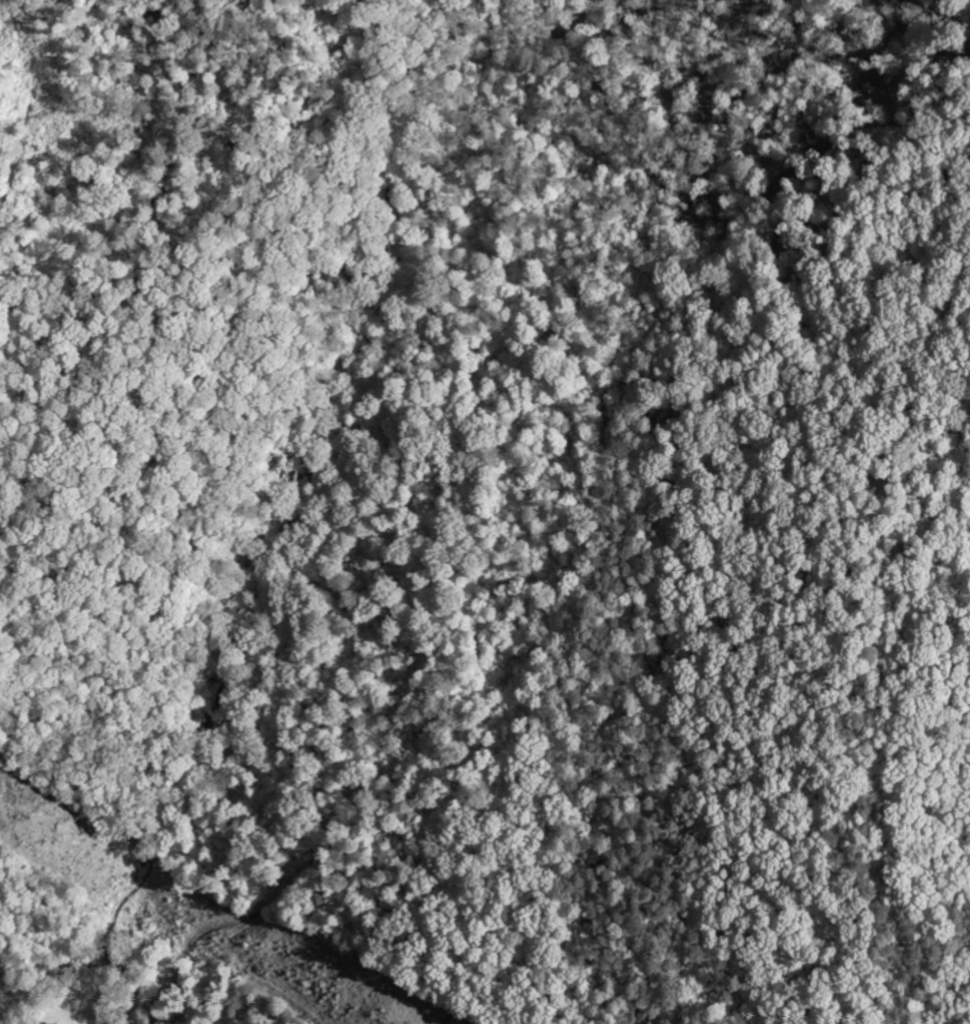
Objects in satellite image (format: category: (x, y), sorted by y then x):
road: (96, 963)

